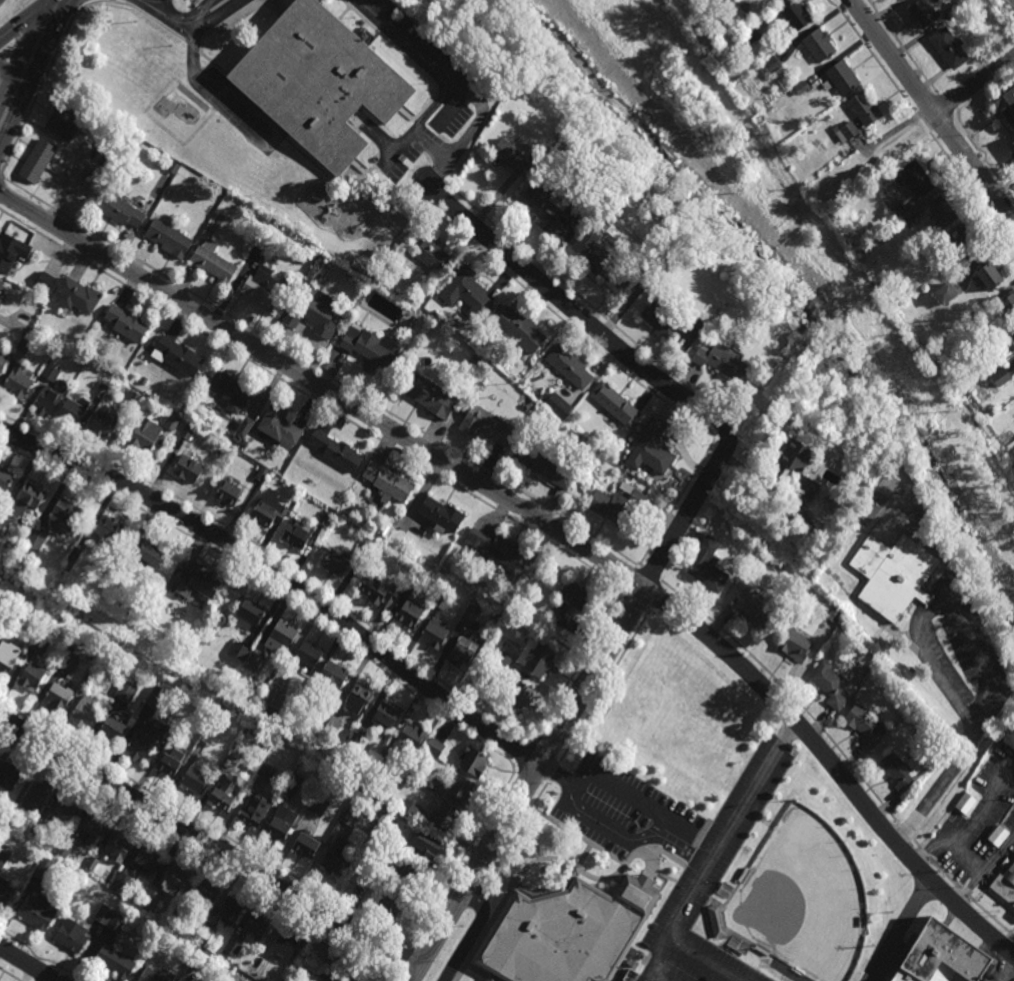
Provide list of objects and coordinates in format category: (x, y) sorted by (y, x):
road: (111, 0)
building: (726, 0)
road: (212, 1)
road: (1011, 2)
road: (191, 3)
road: (220, 5)
road: (284, 5)
building: (744, 6)
building: (953, 10)
road: (203, 12)
road: (220, 13)
building: (922, 13)
building: (795, 14)
road: (343, 15)
road: (165, 17)
road: (24, 19)
road: (225, 22)
road: (161, 26)
building: (748, 34)
road: (264, 37)
building: (818, 44)
road: (34, 47)
road: (902, 47)
building: (949, 47)
road: (408, 61)
building: (770, 64)
building: (842, 77)
road: (8, 78)
road: (973, 84)
building: (318, 85)
road: (457, 85)
building: (800, 87)
road: (217, 89)
road: (40, 90)
building: (1004, 102)
road: (945, 106)
road: (6, 109)
building: (863, 109)
road: (931, 112)
road: (409, 113)
road: (672, 114)
building: (64, 121)
road: (418, 125)
road: (922, 125)
building: (844, 131)
road: (378, 137)
road: (279, 141)
building: (1011, 149)
road: (77, 151)
building: (108, 155)
road: (440, 157)
building: (511, 157)
building: (401, 158)
road: (983, 159)
building: (37, 161)
building: (173, 168)
road: (431, 173)
building: (97, 177)
building: (914, 179)
road: (1, 182)
road: (339, 183)
road: (430, 187)
road: (348, 190)
road: (387, 193)
building: (575, 203)
building: (542, 208)
building: (120, 211)
building: (898, 211)
building: (943, 213)
building: (906, 221)
building: (262, 223)
building: (271, 228)
building: (168, 239)
building: (966, 245)
building: (11, 252)
building: (594, 255)
building: (432, 256)
building: (213, 262)
building: (645, 274)
building: (989, 279)
building: (44, 281)
building: (1, 283)
building: (265, 290)
building: (470, 290)
building: (0, 292)
building: (945, 295)
building: (77, 296)
road: (584, 300)
building: (1008, 306)
building: (309, 308)
road: (580, 316)
building: (660, 319)
building: (126, 324)
building: (520, 329)
building: (1013, 331)
building: (1013, 333)
building: (1013, 335)
building: (25, 345)
building: (782, 348)
building: (371, 350)
building: (178, 357)
building: (3, 360)
building: (721, 362)
building: (570, 366)
road: (321, 370)
building: (51, 373)
road: (623, 373)
road: (853, 373)
building: (1000, 378)
building: (143, 381)
building: (18, 382)
building: (101, 390)
building: (231, 392)
building: (431, 397)
building: (540, 397)
road: (312, 399)
building: (47, 400)
building: (129, 400)
building: (615, 404)
building: (529, 406)
building: (558, 406)
building: (73, 411)
building: (534, 419)
building: (171, 422)
building: (103, 424)
building: (486, 424)
building: (279, 427)
building: (244, 429)
building: (187, 432)
building: (142, 436)
building: (334, 448)
building: (652, 449)
building: (791, 459)
building: (543, 463)
building: (187, 468)
building: (261, 472)
building: (5, 478)
building: (388, 481)
building: (808, 488)
building: (228, 490)
building: (31, 494)
building: (335, 500)
building: (834, 503)
building: (614, 504)
building: (268, 507)
building: (67, 510)
building: (441, 513)
building: (923, 514)
building: (324, 517)
building: (1, 522)
road: (546, 524)
building: (108, 527)
building: (384, 529)
building: (295, 533)
building: (35, 540)
building: (366, 543)
building: (496, 550)
building: (148, 552)
road: (277, 558)
building: (72, 559)
building: (334, 561)
building: (832, 564)
building: (707, 565)
road: (648, 573)
building: (892, 574)
building: (415, 575)
building: (179, 576)
road: (281, 576)
road: (630, 578)
building: (204, 582)
building: (172, 587)
road: (272, 587)
building: (376, 588)
building: (508, 589)
road: (654, 597)
building: (441, 599)
building: (570, 601)
road: (636, 601)
road: (934, 601)
building: (750, 607)
building: (409, 611)
building: (833, 612)
building: (250, 613)
building: (468, 616)
building: (848, 624)
building: (8, 626)
building: (434, 631)
building: (280, 636)
building: (39, 644)
building: (794, 644)
building: (239, 650)
building: (307, 652)
building: (460, 652)
building: (70, 659)
building: (503, 659)
building: (539, 659)
building: (6, 663)
building: (253, 663)
road: (579, 665)
building: (493, 672)
building: (31, 675)
building: (330, 676)
building: (90, 677)
building: (280, 680)
building: (828, 682)
road: (604, 688)
building: (126, 690)
road: (790, 694)
building: (358, 696)
building: (518, 696)
building: (58, 697)
building: (156, 697)
road: (571, 707)
building: (85, 712)
road: (1002, 712)
building: (386, 713)
building: (208, 717)
building: (250, 722)
building: (865, 724)
building: (329, 726)
building: (113, 728)
building: (408, 737)
building: (353, 739)
building: (143, 741)
building: (435, 746)
building: (382, 755)
building: (231, 758)
building: (472, 760)
building: (170, 762)
building: (266, 770)
building: (896, 770)
road: (554, 773)
road: (554, 774)
building: (9, 776)
road: (941, 777)
building: (194, 779)
building: (461, 787)
building: (36, 796)
building: (222, 796)
road: (542, 796)
road: (628, 796)
building: (965, 802)
building: (318, 805)
building: (410, 807)
building: (254, 810)
building: (387, 810)
parking lot: (621, 810)
building: (11, 811)
building: (63, 811)
building: (283, 811)
building: (350, 815)
building: (444, 815)
road: (204, 824)
building: (37, 827)
road: (730, 827)
building: (89, 831)
road: (905, 832)
building: (998, 835)
road: (535, 836)
building: (357, 837)
road: (583, 839)
road: (630, 839)
road: (207, 842)
building: (373, 842)
building: (427, 843)
building: (304, 846)
building: (118, 847)
building: (64, 849)
road: (196, 852)
building: (4, 854)
building: (333, 857)
road: (583, 858)
road: (651, 858)
road: (462, 860)
building: (147, 861)
building: (92, 863)
road: (539, 864)
building: (43, 868)
building: (379, 868)
building: (406, 869)
building: (743, 875)
building: (173, 878)
parking lot: (713, 878)
building: (366, 879)
building: (121, 883)
building: (1005, 884)
road: (961, 888)
building: (724, 890)
building: (4, 892)
building: (204, 892)
park: (803, 899)
building: (150, 900)
building: (389, 905)
building: (232, 909)
building: (39, 912)
building: (104, 915)
building: (175, 917)
building: (716, 921)
building: (116, 922)
building: (258, 925)
road: (473, 931)
road: (902, 931)
building: (205, 932)
road: (1013, 933)
building: (567, 934)
building: (71, 936)
building: (286, 943)
building: (738, 945)
road: (682, 946)
building: (306, 947)
building: (233, 949)
building: (761, 949)
road: (421, 954)
building: (940, 956)
road: (39, 958)
building: (201, 958)
road: (403, 959)
building: (115, 961)
building: (345, 962)
road: (28, 964)
road: (438, 964)
building: (254, 970)
building: (293, 970)
road: (451, 970)
road: (1007, 970)
road: (481, 973)
road: (9, 975)
building: (151, 976)
road: (391, 976)
road: (402, 976)
building: (329, 977)
building: (232, 980)
road: (492, 980)
road: (492, 980)

